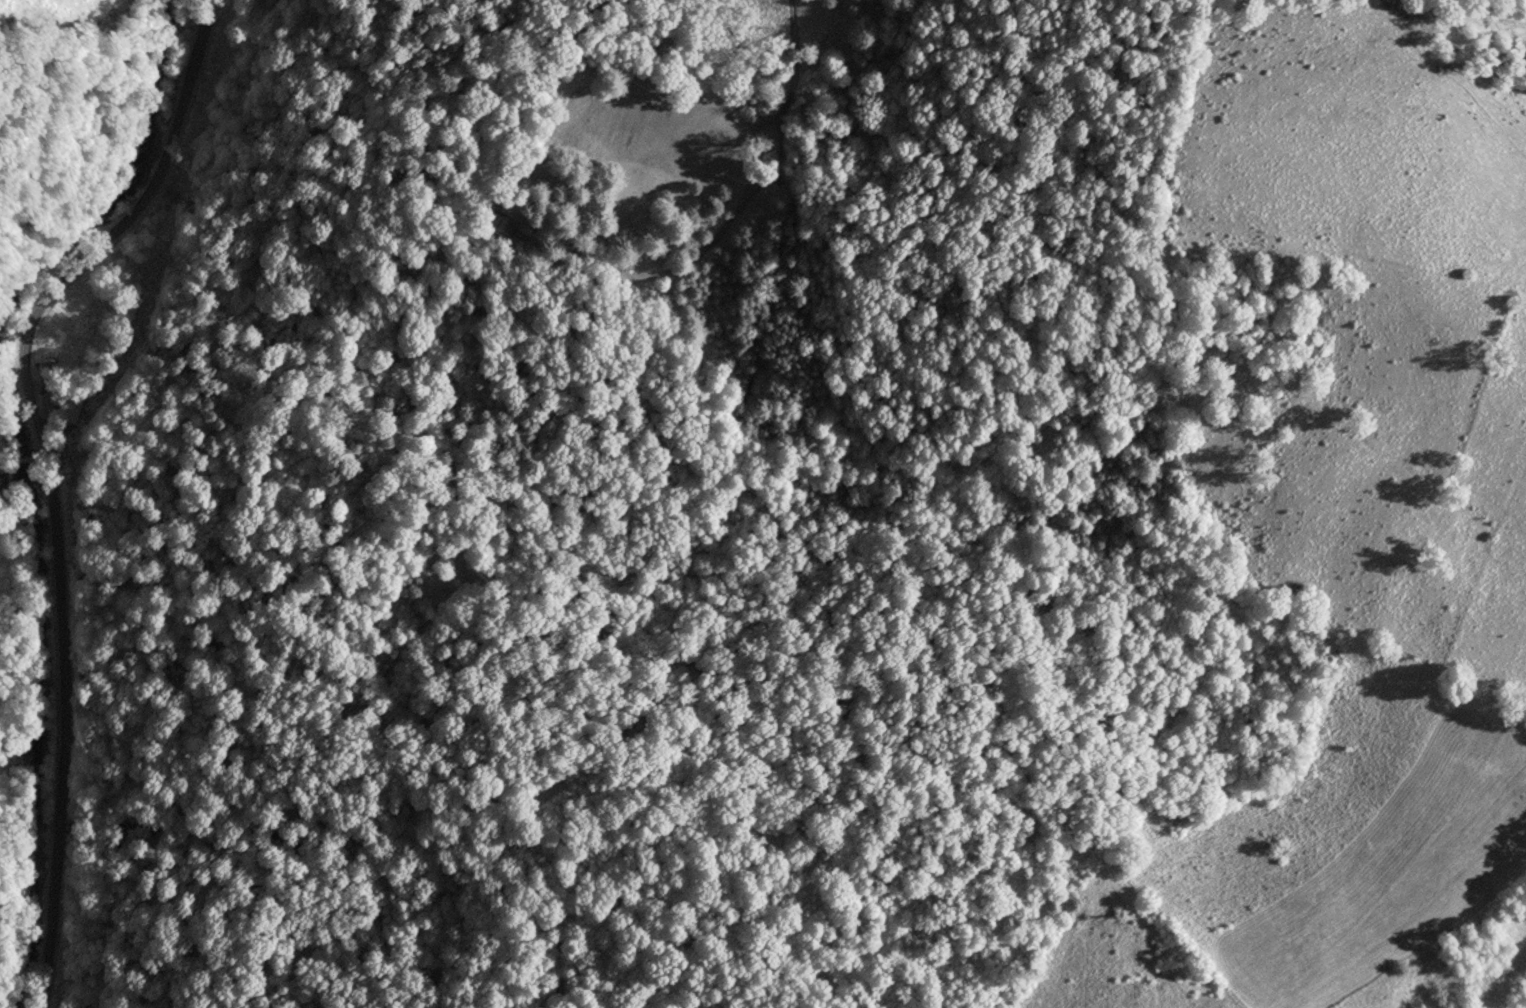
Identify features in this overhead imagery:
road: (48, 474)
building: (2, 483)

